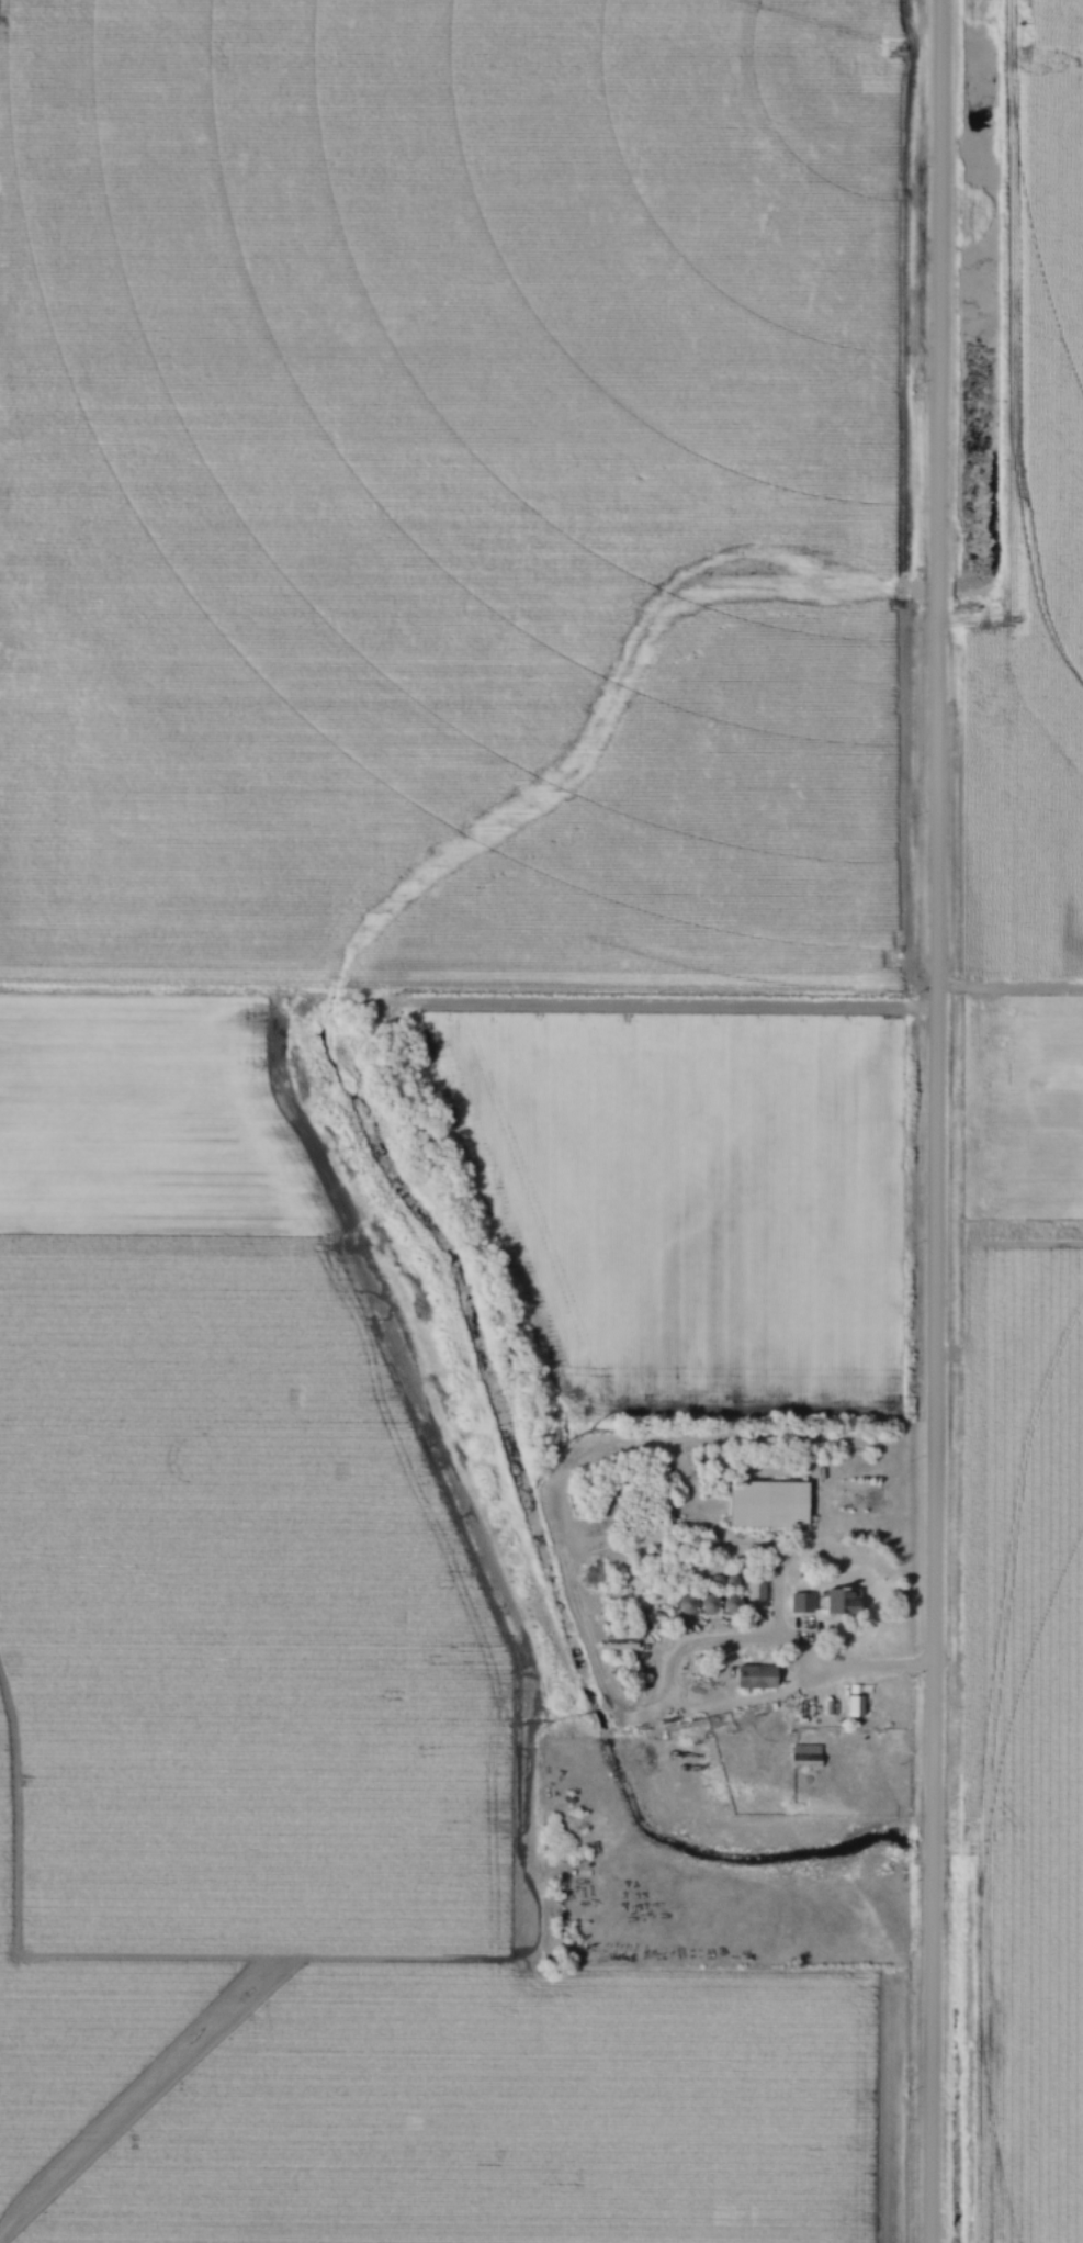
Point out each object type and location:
road: (936, 1121)
building: (771, 1505)
building: (757, 1597)
building: (846, 1603)
building: (621, 1645)
road: (875, 1670)
building: (757, 1674)
road: (674, 1703)
building: (855, 1707)
building: (806, 1758)

